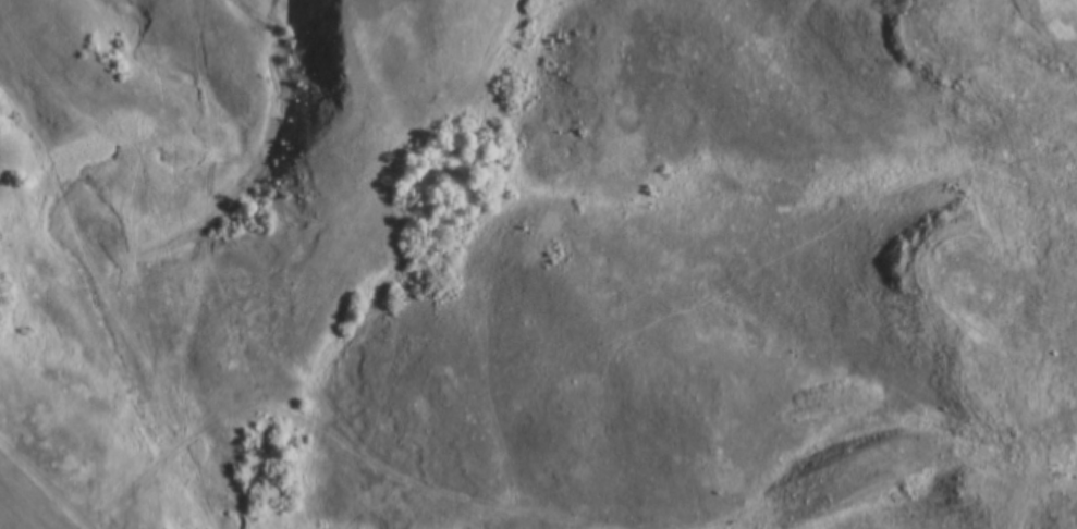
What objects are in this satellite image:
quarry: (994, 60)
road: (1029, 284)
quarry: (1000, 359)
road: (855, 430)
road: (333, 444)
road: (22, 506)

